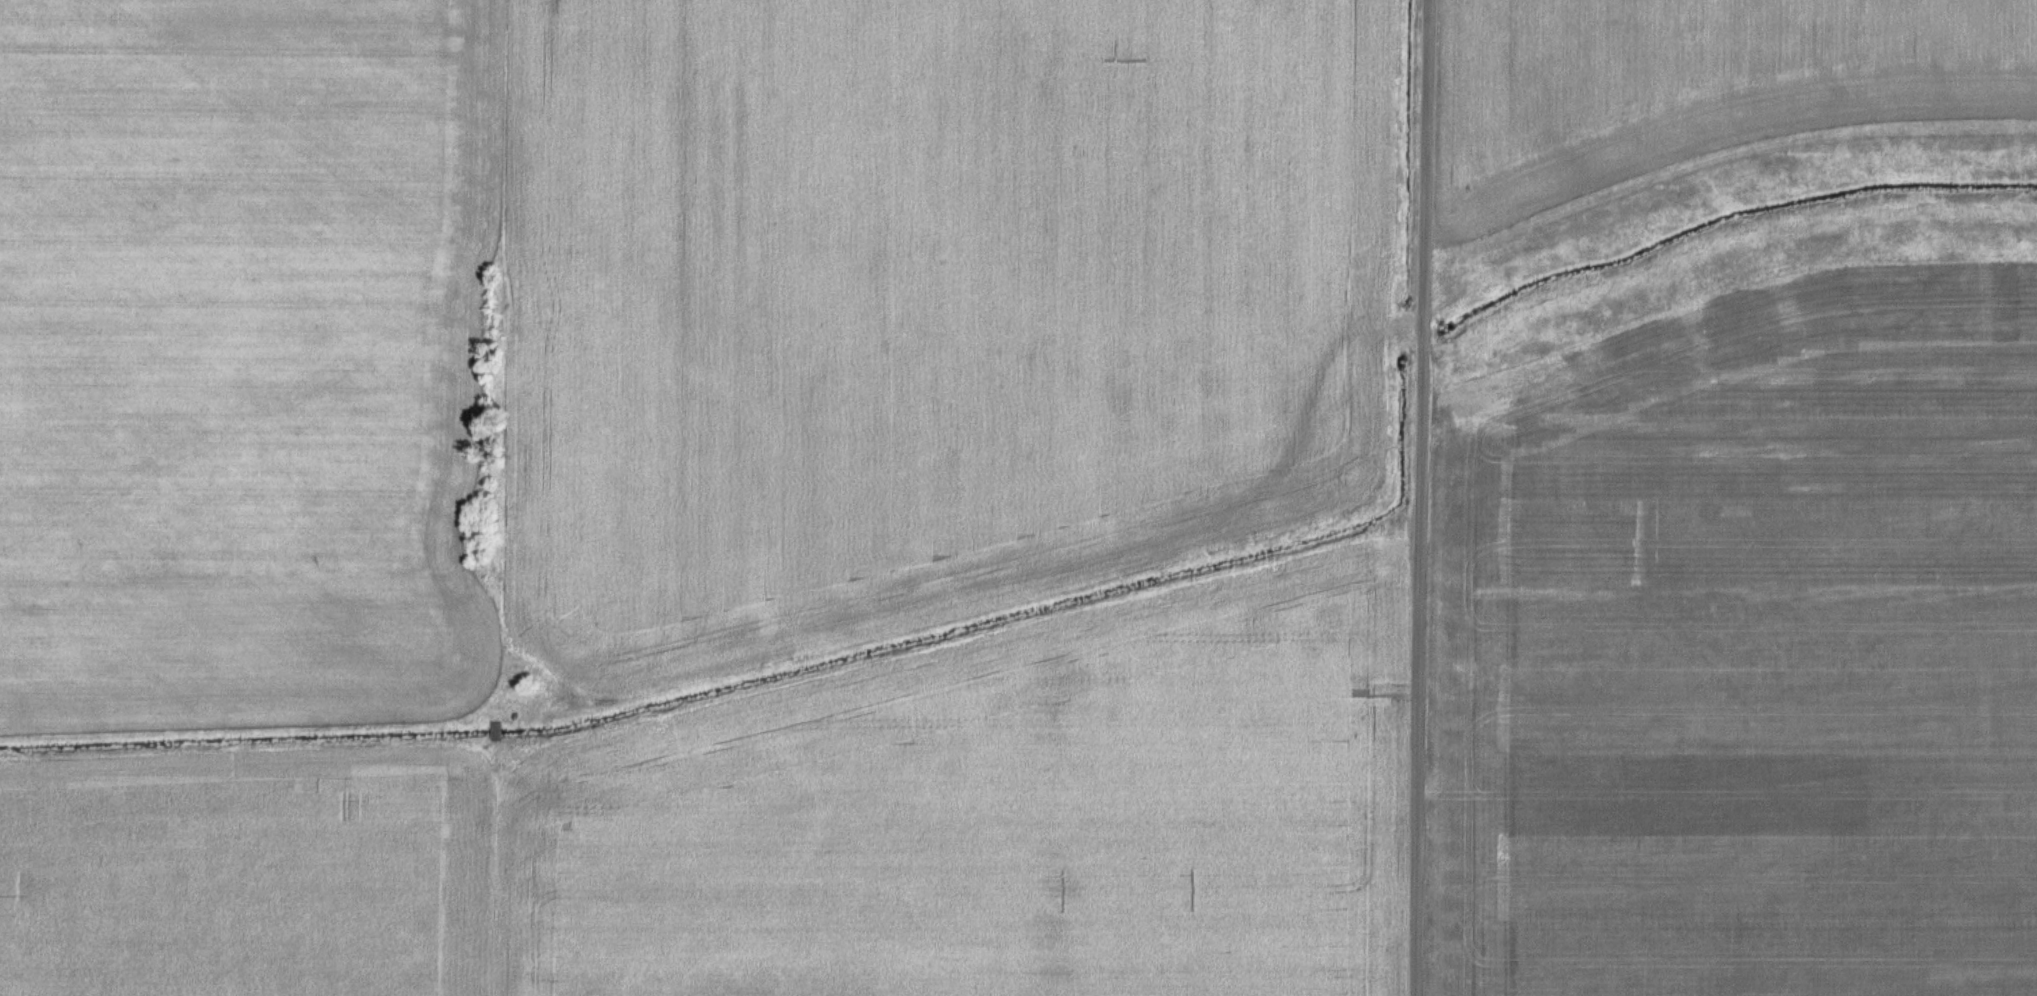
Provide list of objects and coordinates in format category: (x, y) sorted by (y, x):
road: (1418, 498)

